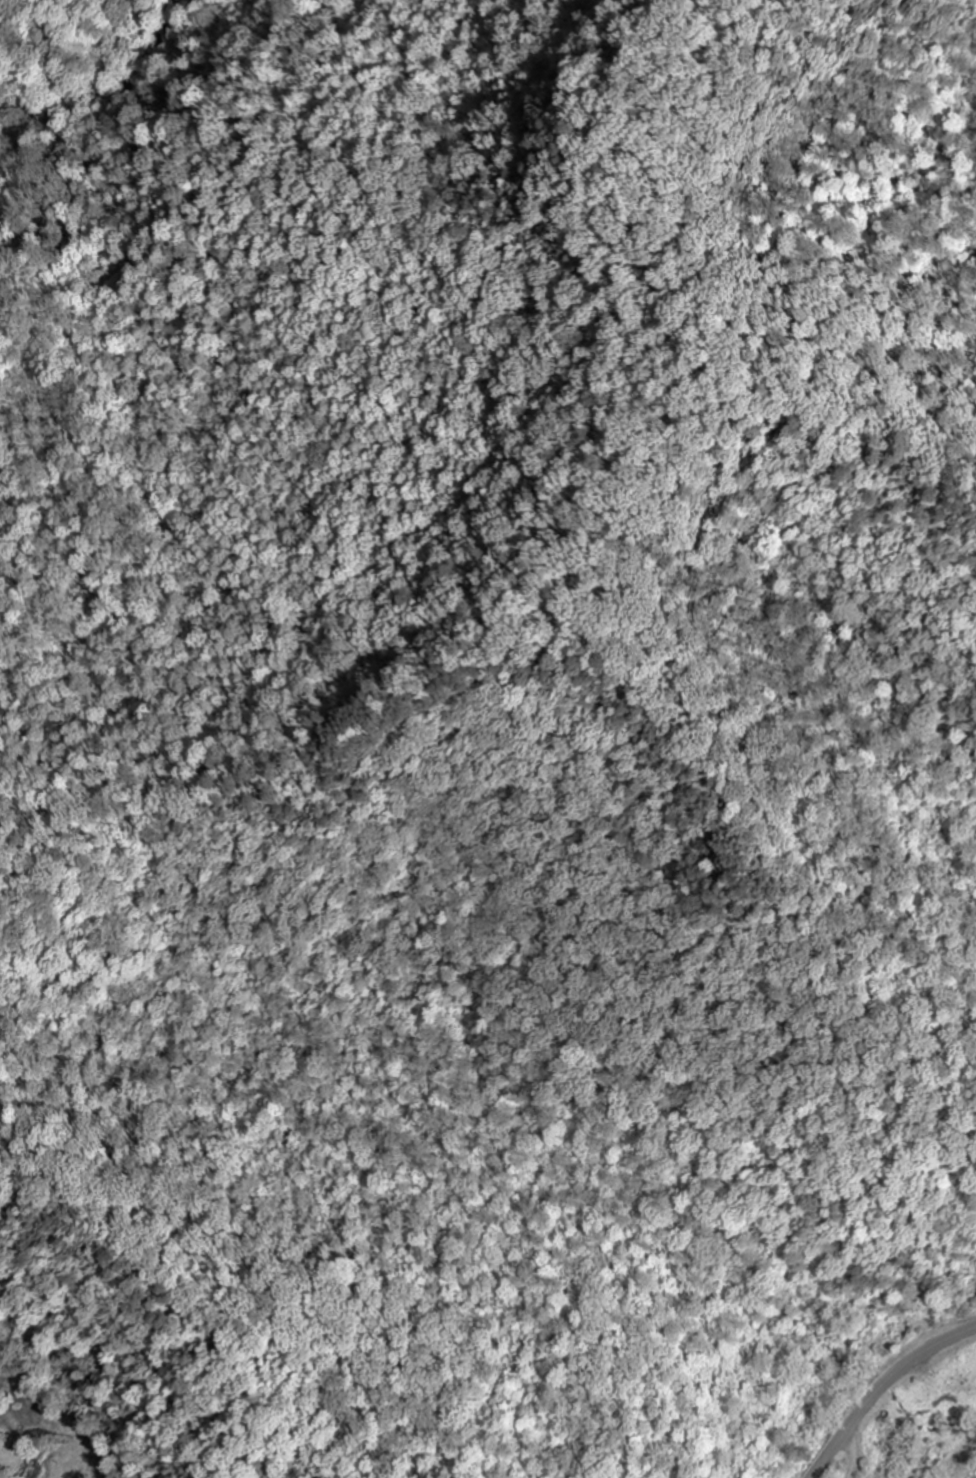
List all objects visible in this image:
road: (880, 1387)

